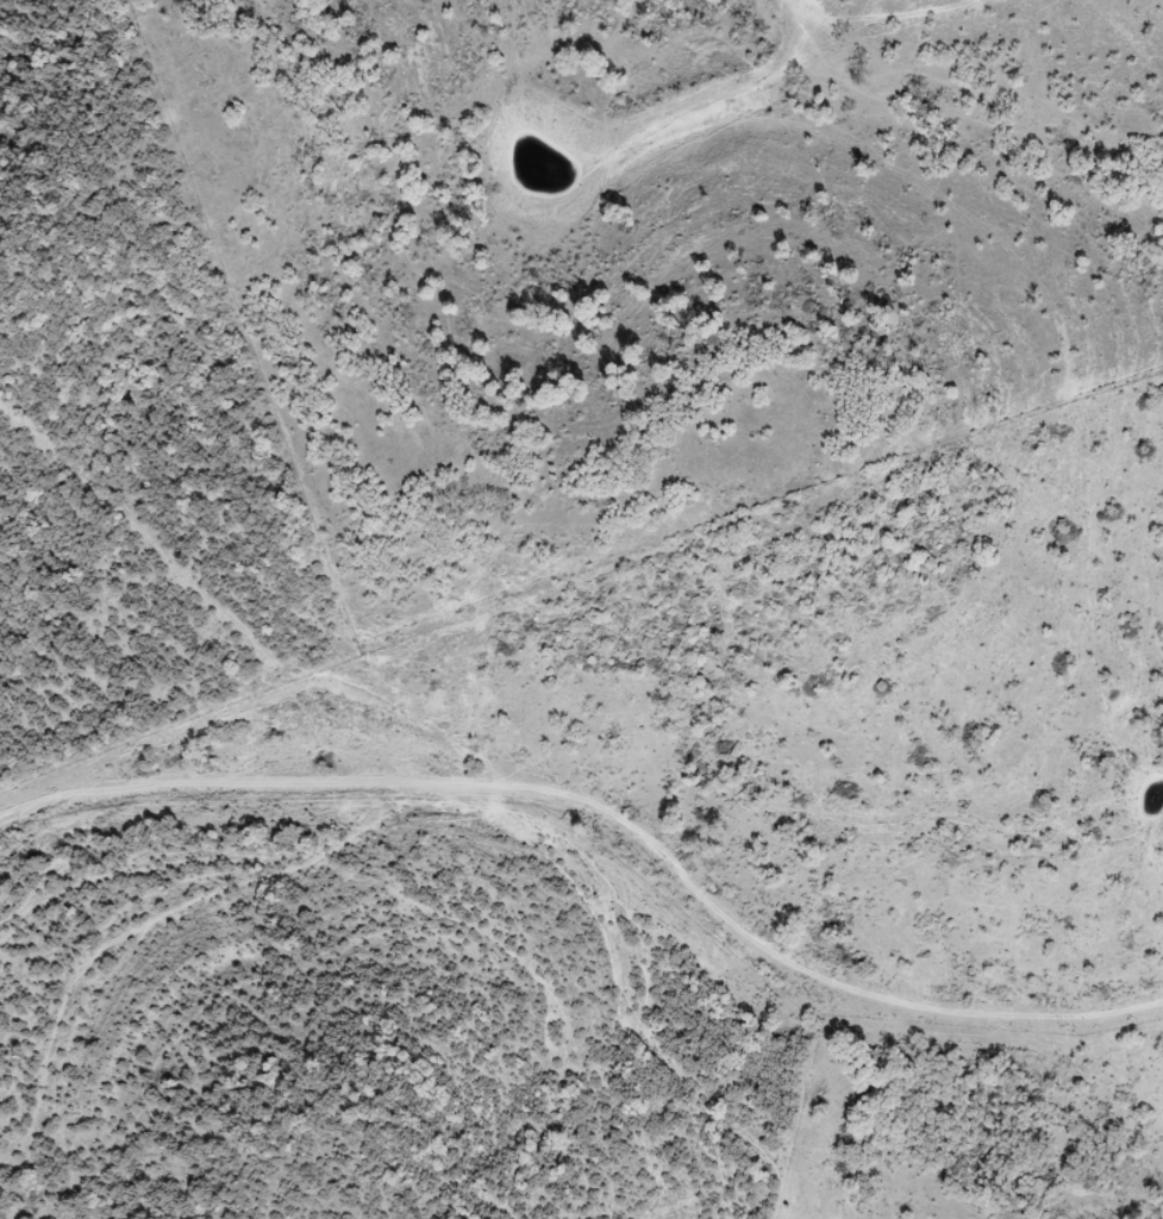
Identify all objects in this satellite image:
road: (611, 804)

